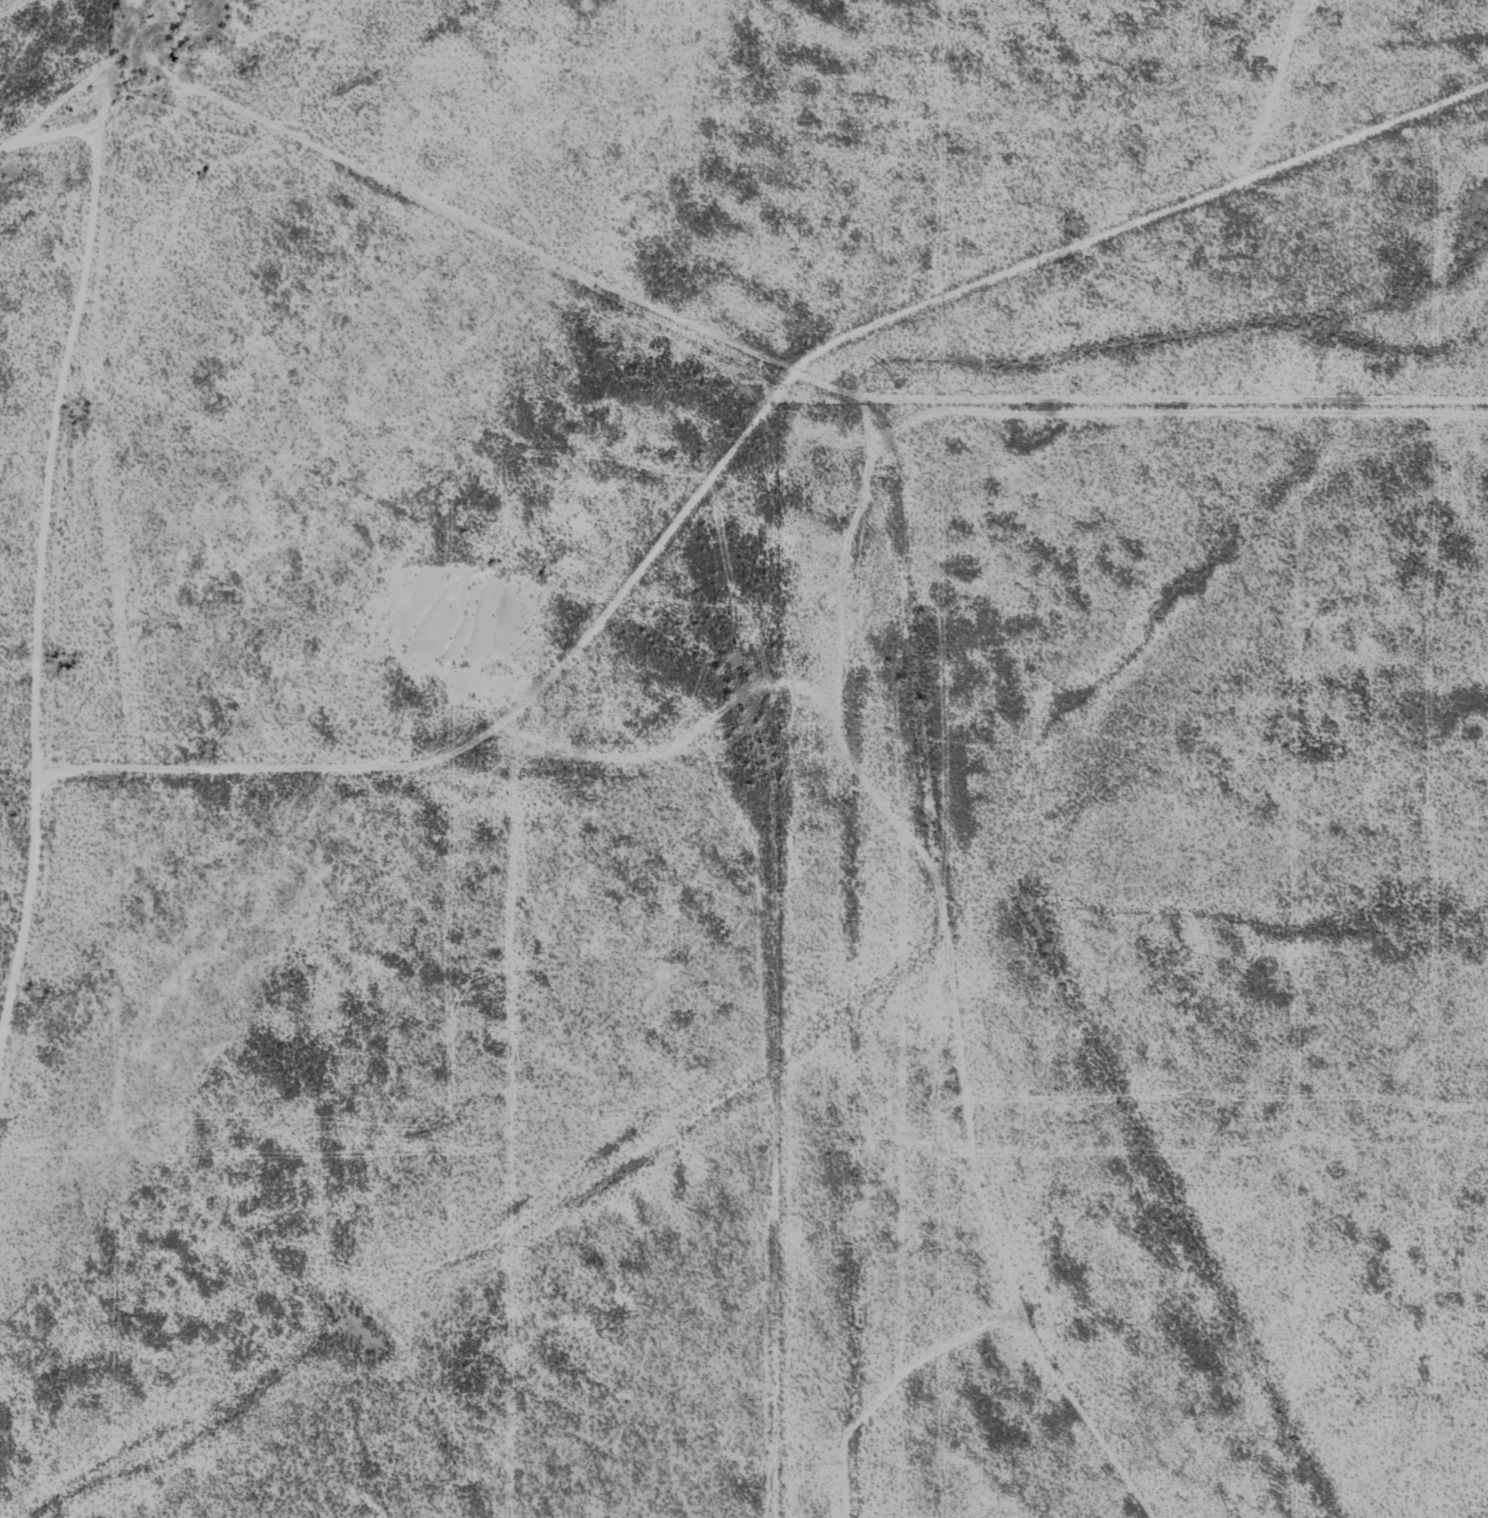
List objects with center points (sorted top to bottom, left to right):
road: (165, 42)
road: (57, 179)
road: (73, 556)
road: (779, 755)

